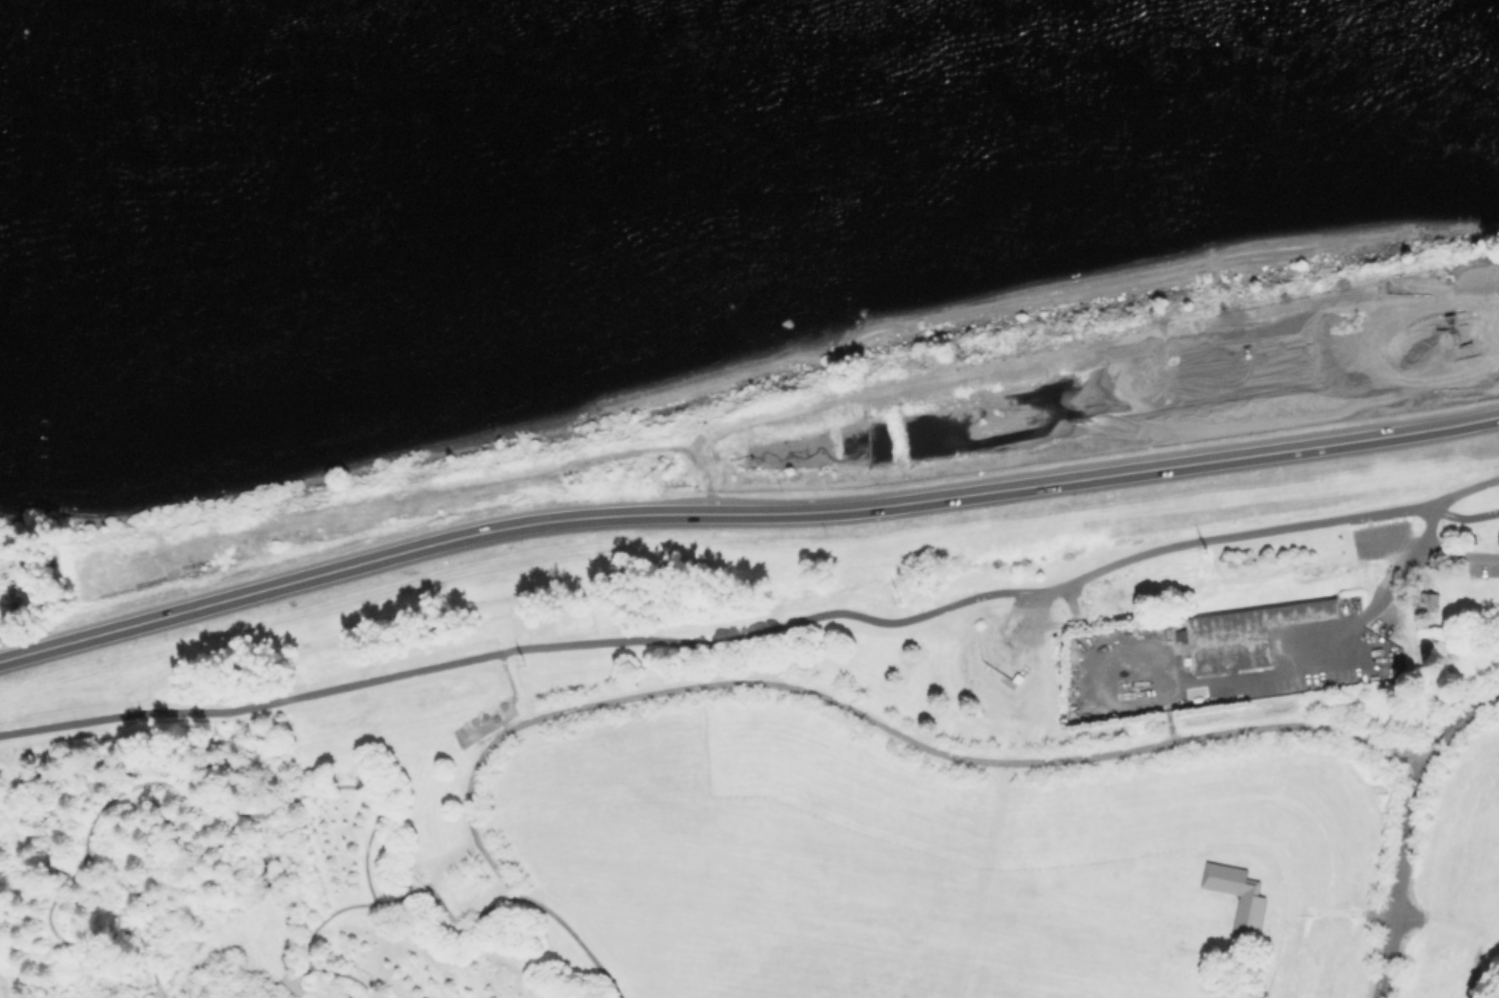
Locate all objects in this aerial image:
road: (1447, 498)
park: (320, 512)
road: (743, 514)
parking lot: (1378, 539)
road: (1385, 543)
road: (1457, 556)
building: (1458, 599)
building: (1430, 600)
road: (752, 630)
building: (1251, 635)
road: (1318, 646)
building: (1386, 646)
road: (513, 687)
road: (870, 718)
road: (1268, 749)
road: (1281, 774)
road: (155, 781)
park: (760, 799)
road: (1251, 817)
road: (1406, 828)
road: (1444, 863)
road: (1487, 882)
building: (1240, 895)
road: (370, 904)
road: (1385, 913)
road: (576, 939)
road: (1347, 954)
road: (1473, 964)
road: (300, 974)
road: (289, 984)
road: (158, 991)
road: (1497, 994)

